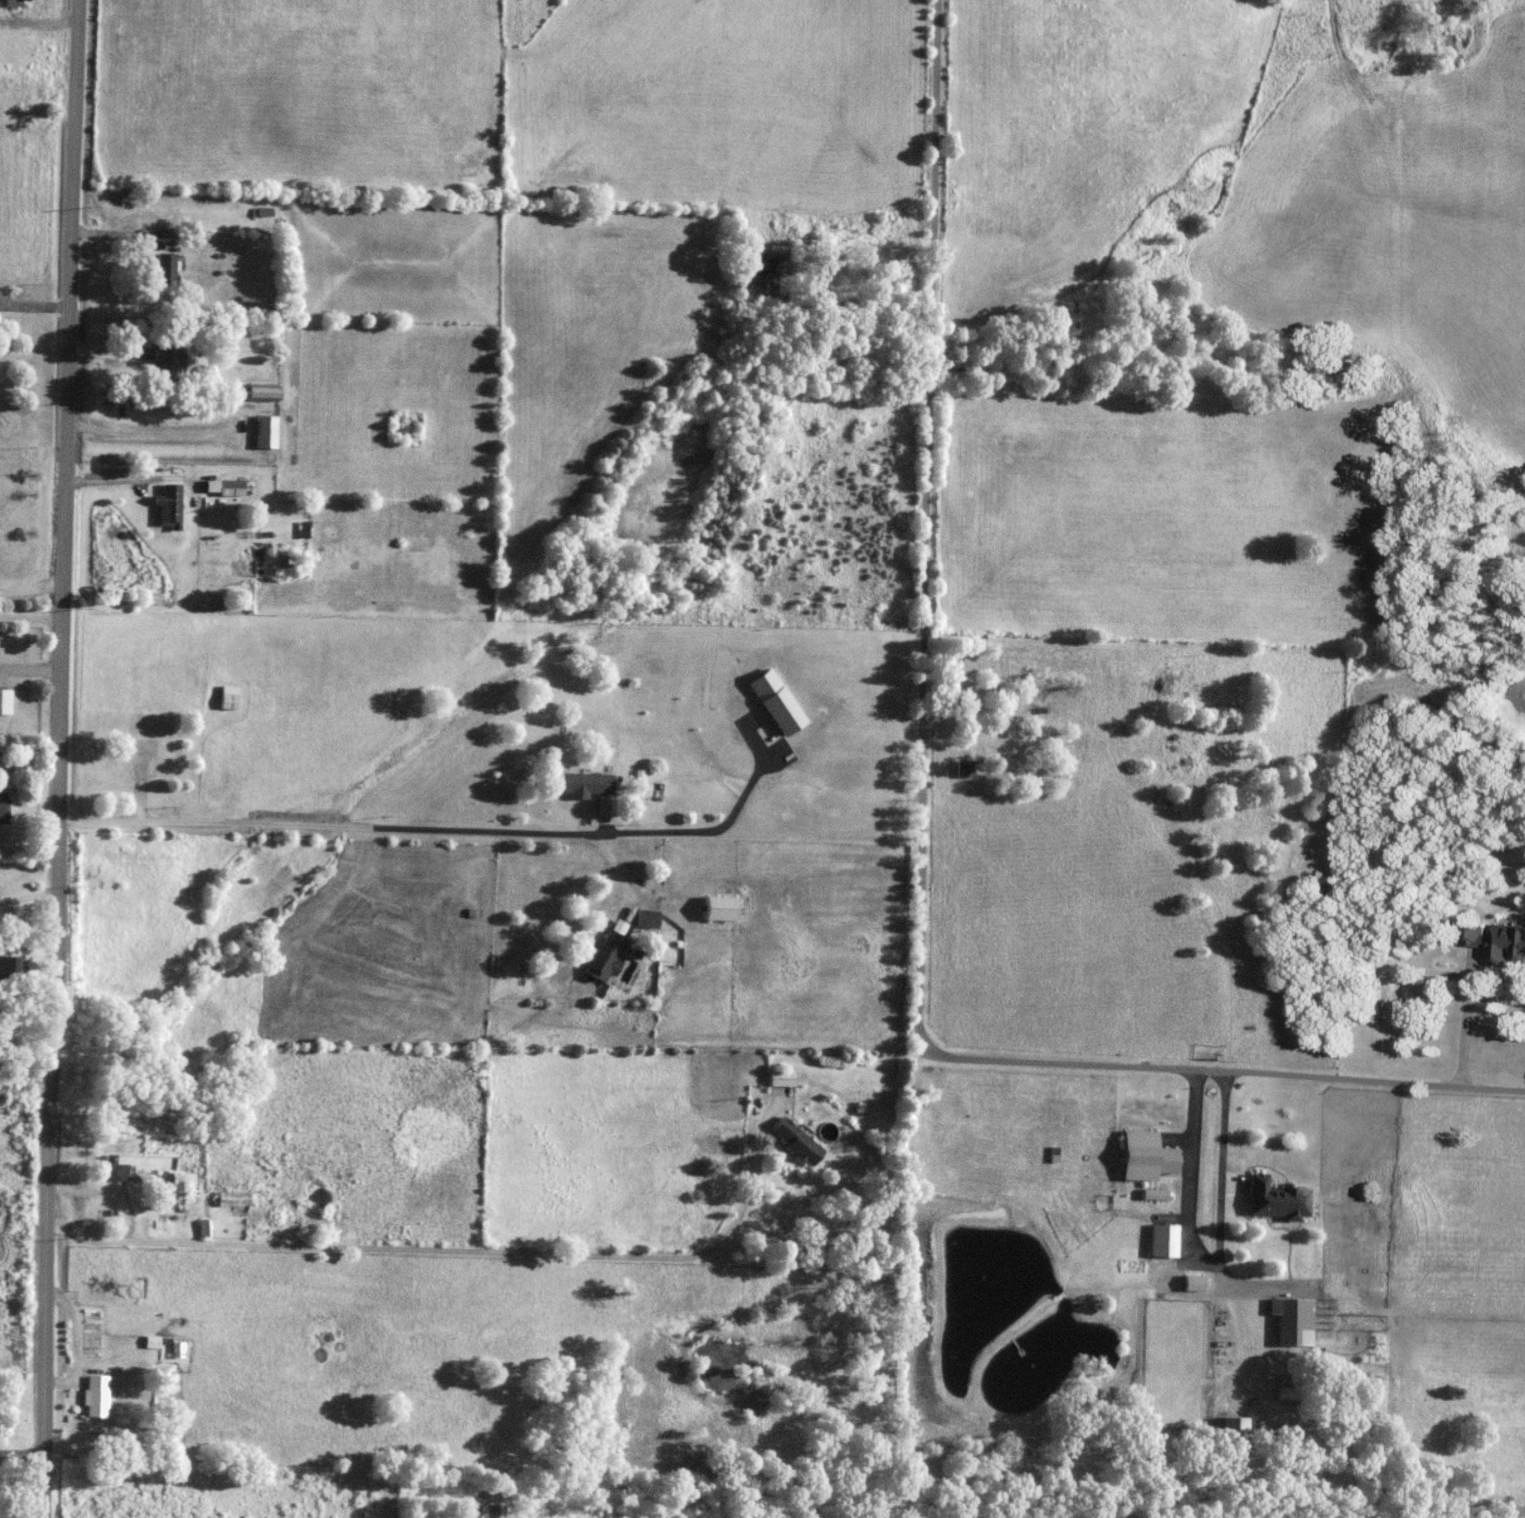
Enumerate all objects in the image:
building: (12, 3)
building: (164, 269)
road: (38, 303)
building: (141, 353)
building: (167, 364)
building: (260, 392)
building: (265, 431)
building: (224, 487)
building: (168, 505)
road: (36, 586)
road: (34, 618)
building: (5, 701)
building: (227, 701)
road: (61, 758)
building: (965, 768)
building: (586, 783)
road: (930, 820)
road: (324, 824)
road: (718, 827)
road: (619, 871)
building: (718, 908)
building: (646, 918)
building: (1498, 942)
building: (605, 954)
building: (11, 968)
road: (1464, 1015)
building: (781, 1077)
building: (796, 1140)
building: (114, 1169)
building: (234, 1198)
building: (1273, 1198)
road: (471, 1248)
building: (1290, 1319)
building: (149, 1342)
building: (1307, 1394)
building: (93, 1396)
building: (1231, 1435)
road: (26, 1452)
building: (487, 1511)

